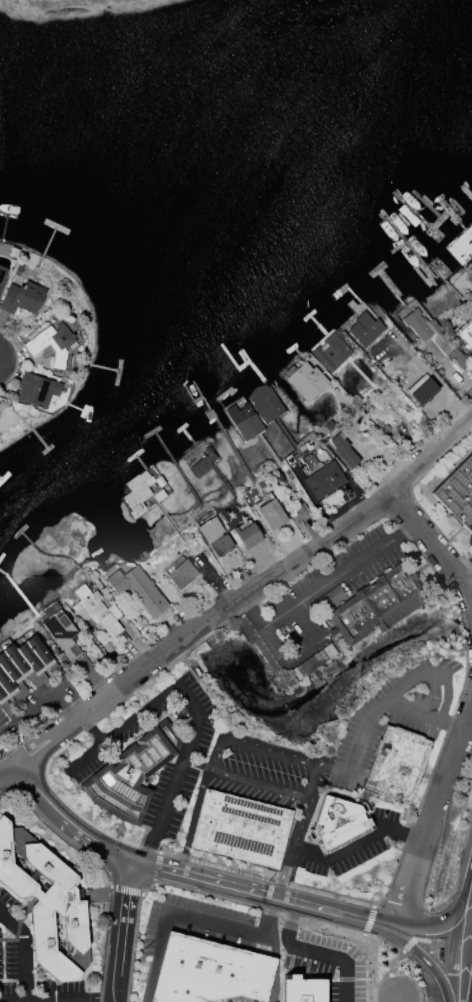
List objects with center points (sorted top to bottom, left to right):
river: (249, 135)
building: (462, 245)
building: (18, 270)
building: (2, 276)
building: (22, 298)
building: (416, 324)
building: (365, 330)
building: (466, 334)
building: (52, 345)
building: (331, 352)
road: (17, 356)
building: (458, 359)
building: (306, 381)
building: (37, 390)
road: (441, 390)
building: (265, 403)
building: (244, 422)
building: (344, 451)
building: (202, 464)
building: (325, 481)
building: (139, 492)
building: (457, 493)
building: (158, 495)
road: (412, 496)
building: (300, 513)
building: (273, 515)
building: (248, 536)
building: (216, 537)
road: (433, 547)
building: (182, 574)
road: (466, 577)
road: (218, 584)
building: (138, 590)
road: (246, 594)
building: (371, 604)
road: (302, 610)
building: (96, 612)
road: (467, 614)
building: (62, 634)
building: (313, 662)
road: (427, 670)
building: (23, 671)
road: (43, 702)
road: (58, 709)
road: (112, 709)
road: (375, 710)
road: (139, 711)
road: (91, 727)
road: (251, 742)
road: (84, 755)
building: (396, 764)
road: (432, 766)
road: (178, 771)
road: (6, 773)
building: (132, 775)
road: (313, 780)
road: (257, 781)
road: (431, 812)
road: (191, 820)
building: (336, 824)
building: (240, 830)
road: (58, 836)
road: (355, 844)
road: (290, 846)
traffic signals: (133, 861)
road: (145, 864)
road: (156, 868)
road: (468, 872)
road: (147, 888)
road: (126, 891)
building: (46, 904)
road: (259, 908)
road: (170, 909)
road: (272, 914)
road: (371, 914)
road: (396, 921)
road: (366, 928)
road: (120, 931)
road: (391, 936)
road: (384, 942)
road: (428, 942)
road: (454, 944)
road: (104, 945)
road: (408, 946)
road: (132, 948)
road: (22, 955)
road: (308, 961)
road: (275, 966)
road: (388, 970)
road: (374, 971)
building: (209, 972)
building: (300, 995)
road: (396, 1000)

